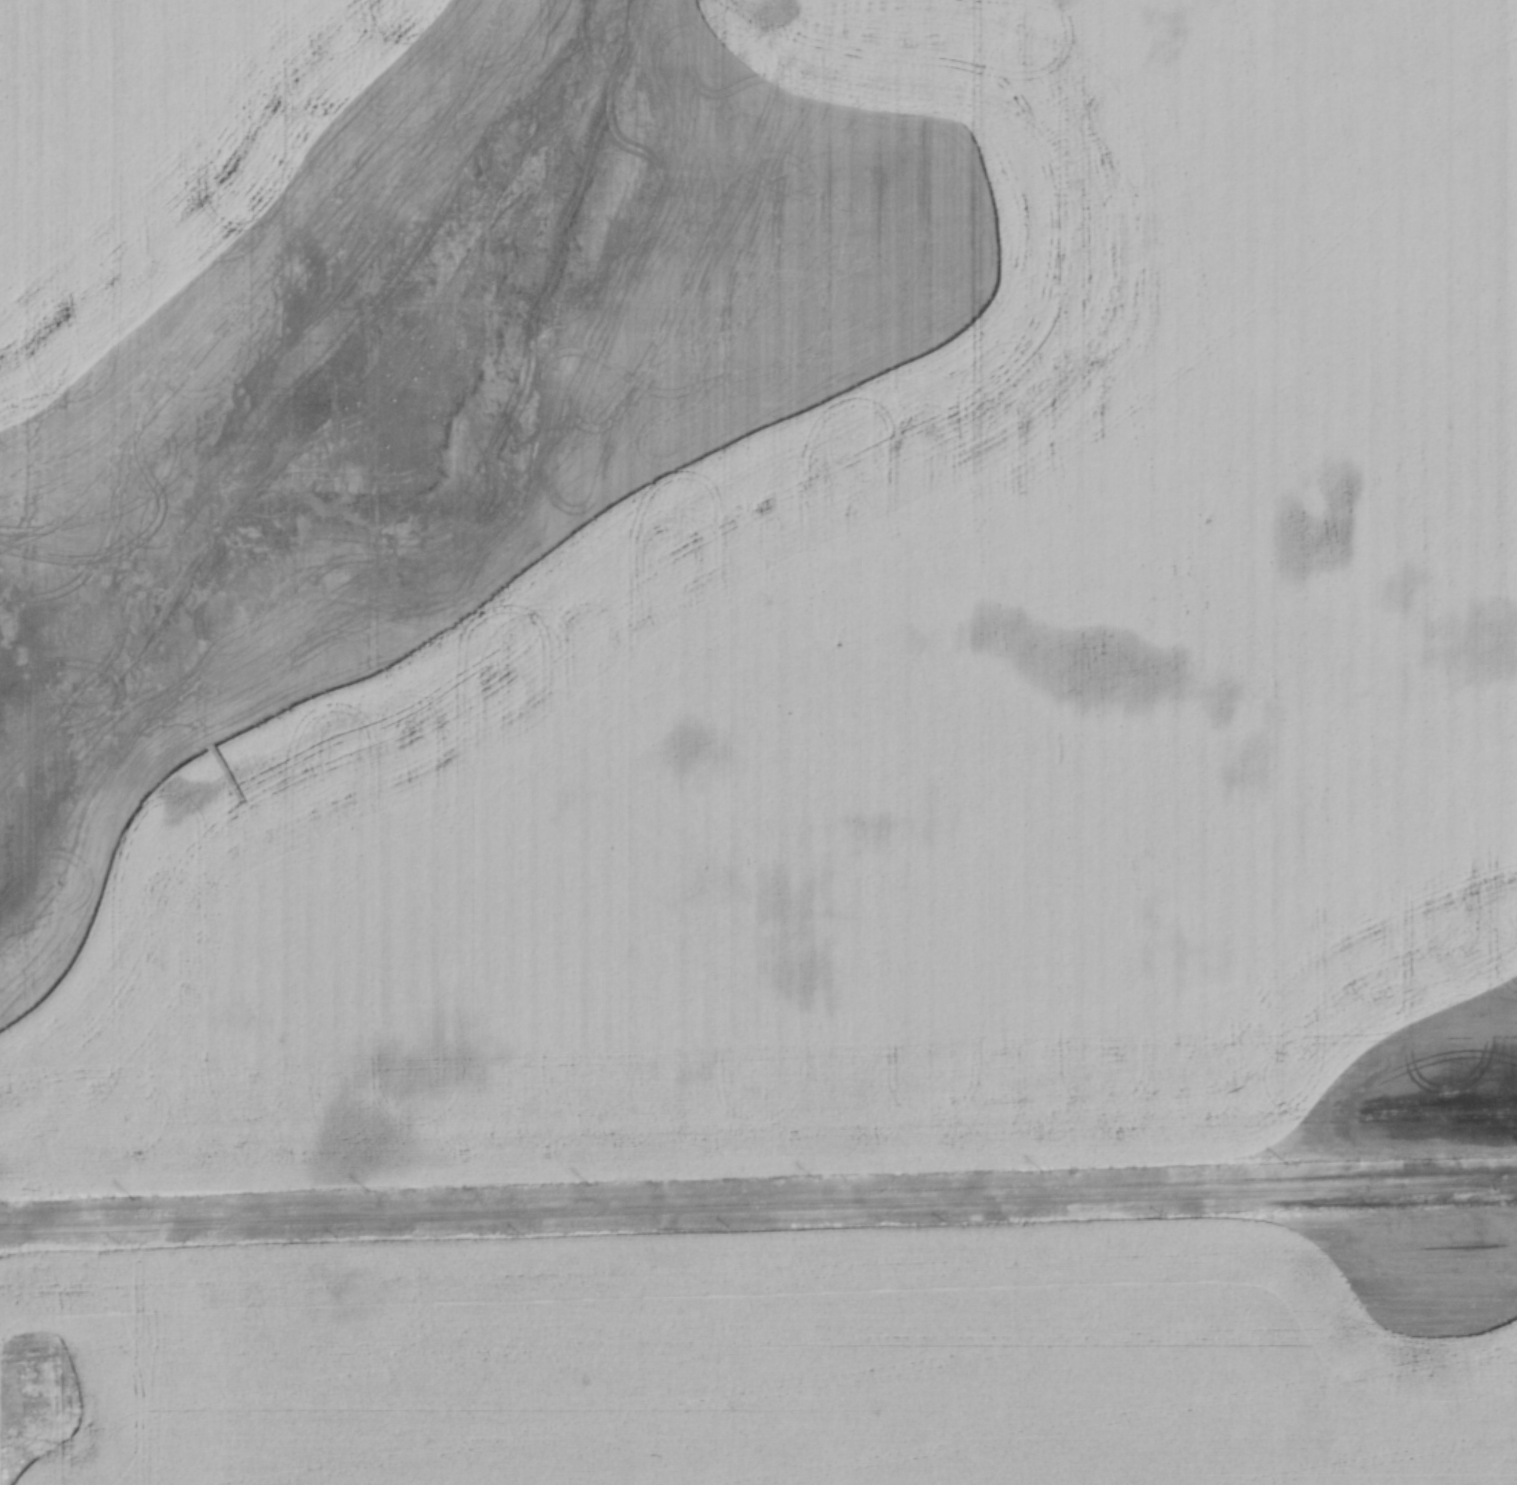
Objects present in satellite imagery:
road: (758, 1214)

